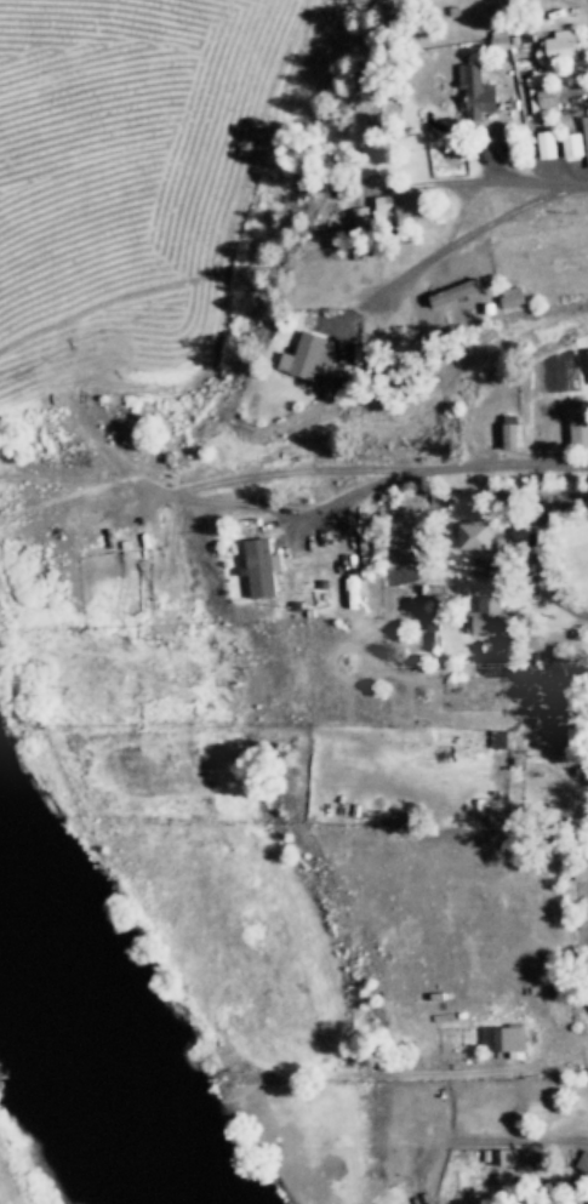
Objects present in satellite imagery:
building: (560, 45)
building: (475, 90)
building: (586, 131)
building: (559, 141)
road: (483, 154)
road: (584, 192)
building: (399, 205)
building: (360, 216)
road: (467, 264)
building: (512, 296)
building: (440, 310)
building: (304, 355)
building: (578, 430)
building: (510, 432)
road: (293, 469)
building: (415, 502)
building: (481, 535)
road: (542, 550)
building: (259, 566)
building: (492, 615)
building: (587, 878)
building: (503, 1039)
building: (563, 1059)
river: (55, 1107)
building: (506, 1157)
building: (583, 1162)

